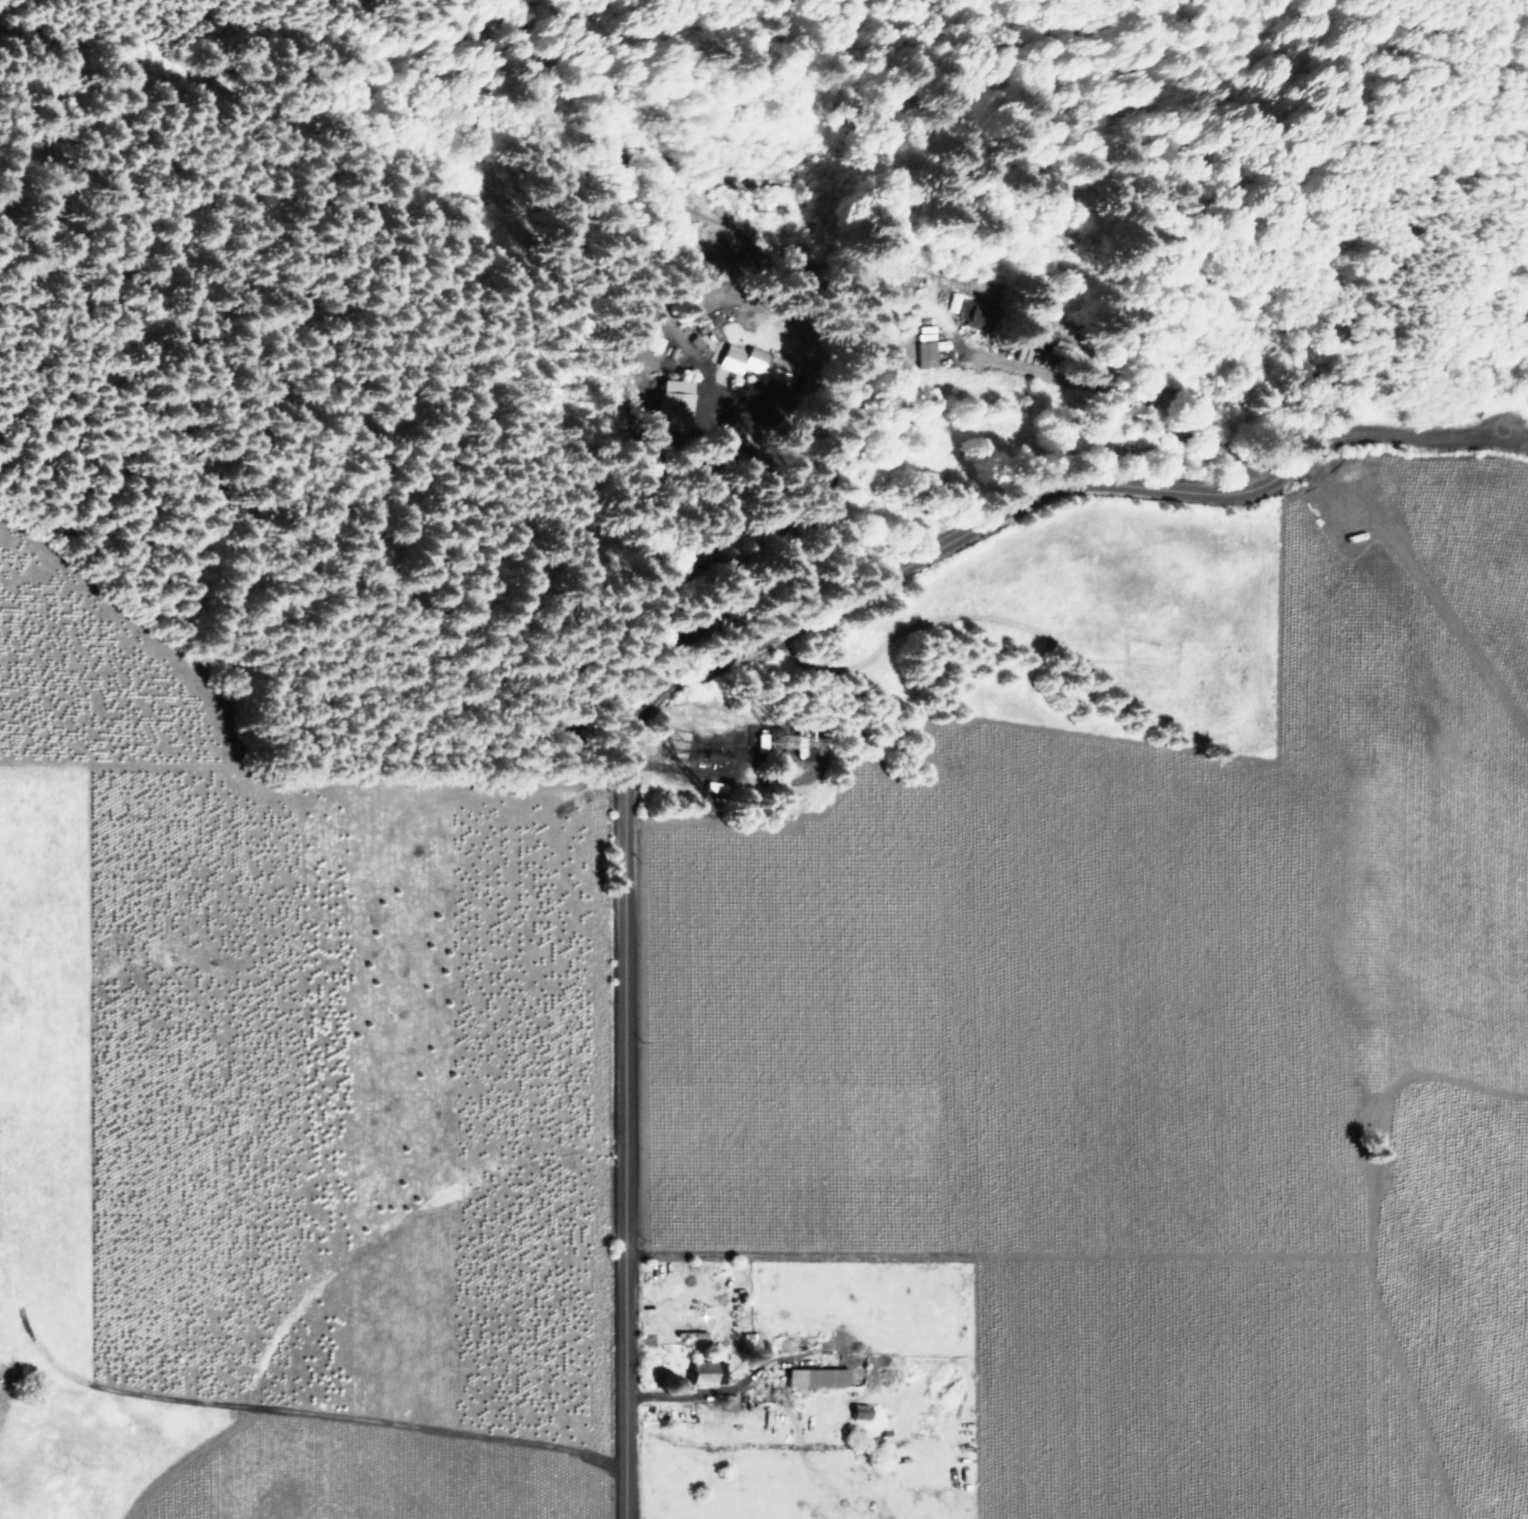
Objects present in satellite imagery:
road: (19, 8)
road: (377, 12)
building: (754, 364)
road: (707, 669)
road: (127, 768)
road: (259, 780)
building: (703, 1370)
building: (813, 1375)
road: (304, 1416)

